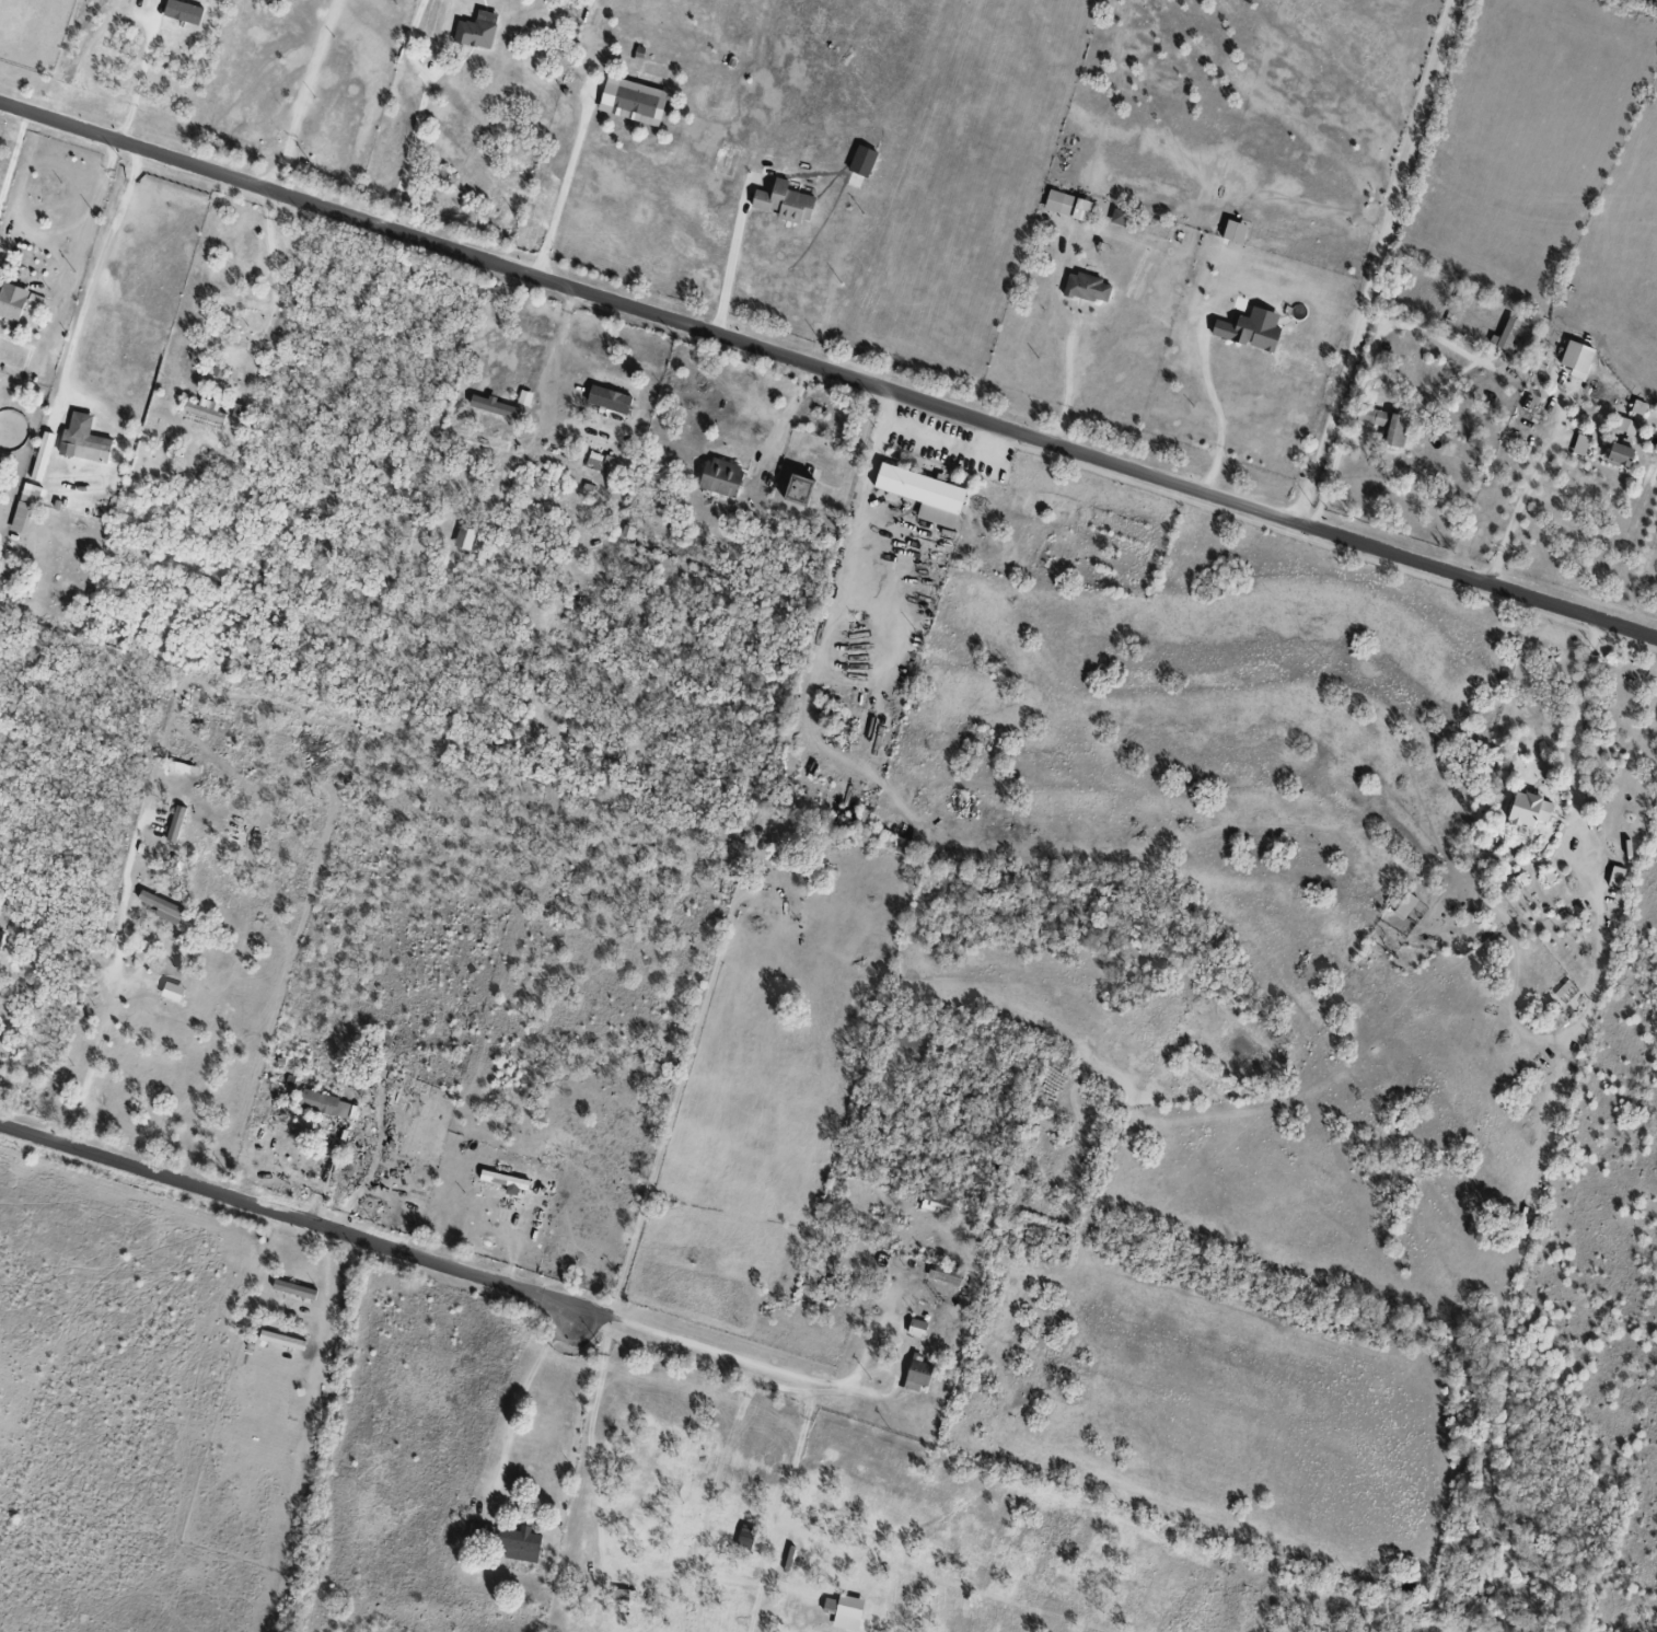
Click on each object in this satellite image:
building: (182, 12)
building: (474, 34)
road: (301, 99)
building: (631, 101)
road: (414, 148)
road: (12, 157)
building: (861, 160)
road: (563, 194)
building: (784, 201)
building: (1066, 205)
road: (94, 212)
building: (1117, 216)
building: (1233, 231)
road: (1376, 255)
road: (730, 267)
building: (0, 270)
road: (94, 270)
road: (275, 285)
building: (1086, 287)
building: (33, 300)
building: (11, 302)
road: (1415, 316)
building: (1249, 328)
building: (1506, 336)
building: (1575, 358)
road: (828, 373)
road: (1069, 386)
building: (607, 400)
building: (491, 406)
building: (1637, 407)
road: (1216, 408)
building: (204, 409)
road: (788, 412)
building: (1386, 424)
building: (1626, 426)
building: (83, 441)
building: (1579, 444)
building: (1618, 454)
building: (595, 463)
building: (720, 477)
building: (797, 489)
building: (923, 494)
road: (1521, 498)
building: (24, 507)
road: (859, 518)
building: (626, 531)
building: (464, 539)
road: (1573, 741)
building: (1527, 810)
building: (1615, 877)
building: (1404, 905)
building: (161, 907)
building: (171, 992)
road: (116, 1002)
building: (186, 1102)
building: (323, 1103)
road: (323, 1173)
building: (505, 1181)
building: (936, 1202)
road: (287, 1216)
building: (946, 1274)
building: (293, 1289)
building: (915, 1328)
building: (281, 1340)
road: (769, 1369)
building: (916, 1375)
road: (524, 1394)
building: (507, 1541)
power tower: (1626, 1577)

